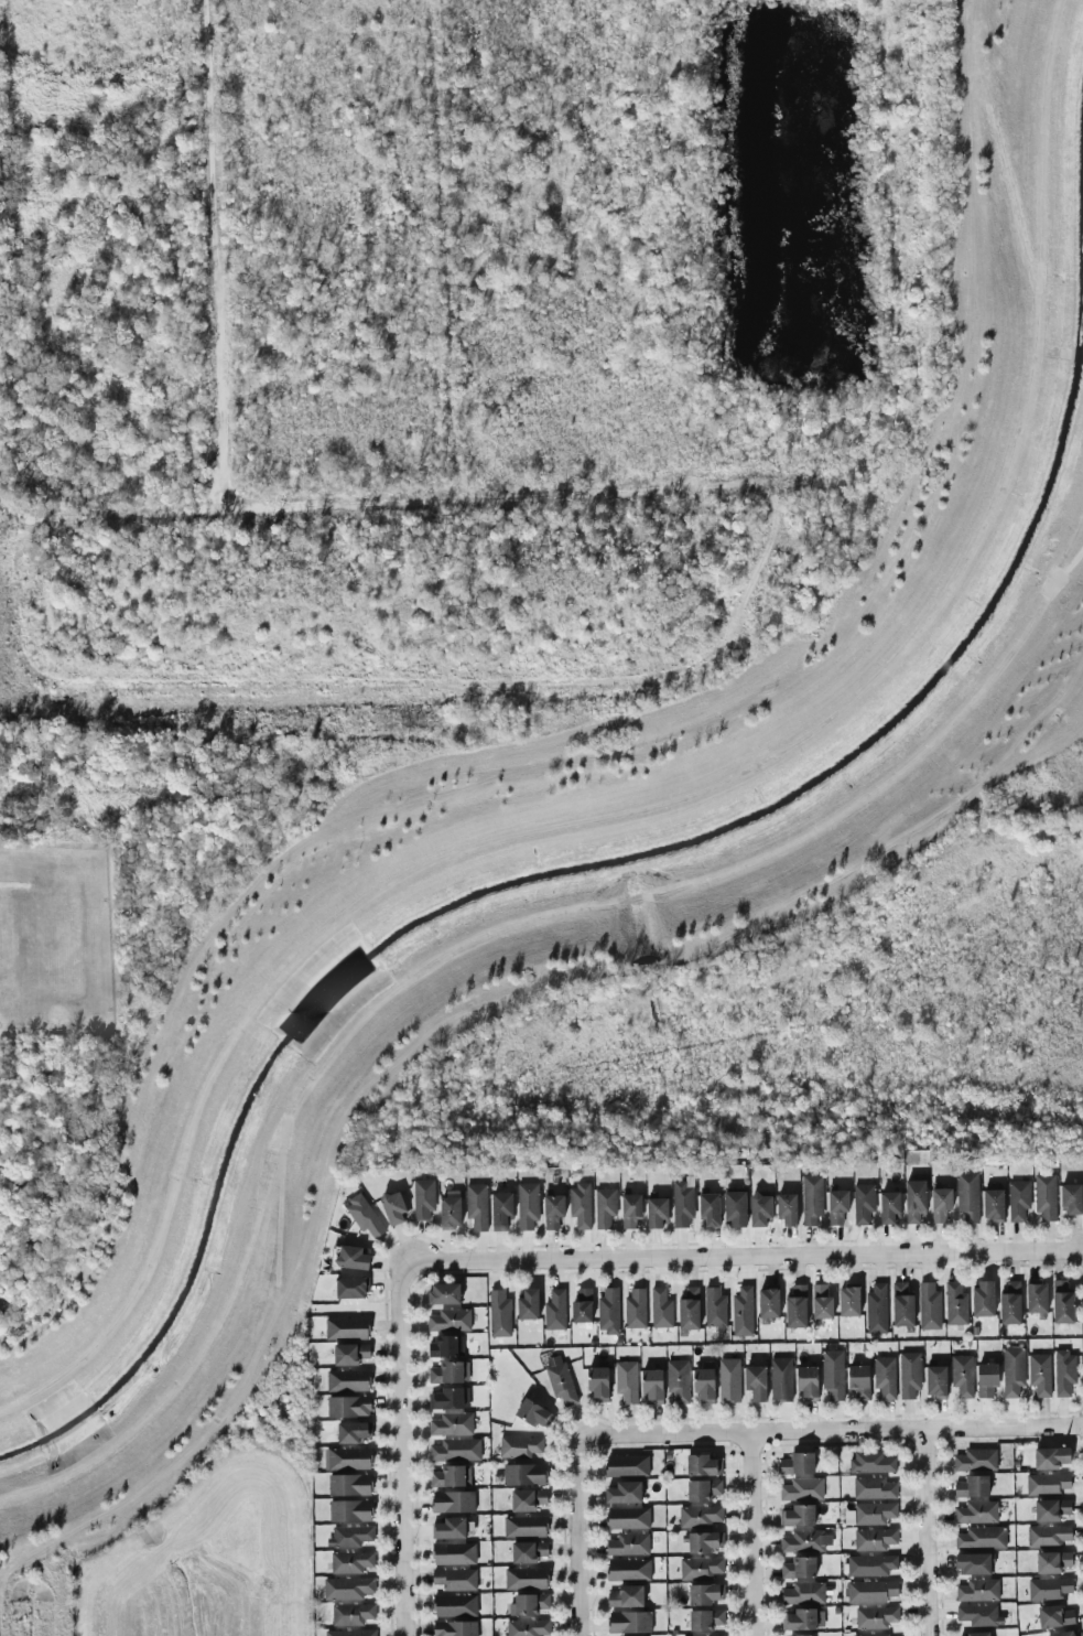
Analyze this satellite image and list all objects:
road: (447, 249)
road: (218, 256)
road: (690, 488)
road: (617, 756)
river: (599, 862)
building: (967, 1197)
building: (1046, 1197)
building: (423, 1198)
building: (812, 1199)
building: (1072, 1199)
building: (914, 1201)
building: (1018, 1201)
building: (683, 1202)
building: (864, 1203)
building: (528, 1205)
building: (581, 1205)
building: (941, 1205)
building: (994, 1205)
building: (393, 1206)
building: (477, 1206)
building: (837, 1206)
building: (605, 1207)
building: (889, 1207)
building: (787, 1208)
building: (553, 1209)
building: (735, 1209)
building: (501, 1210)
building: (630, 1210)
building: (710, 1210)
building: (760, 1210)
building: (451, 1212)
building: (657, 1212)
building: (364, 1215)
road: (741, 1257)
building: (351, 1258)
building: (351, 1288)
building: (444, 1293)
building: (1037, 1298)
building: (983, 1299)
building: (821, 1302)
building: (849, 1302)
building: (1010, 1302)
building: (769, 1303)
building: (1062, 1303)
building: (528, 1304)
building: (955, 1304)
building: (797, 1305)
building: (902, 1305)
building: (583, 1306)
building: (929, 1306)
building: (714, 1307)
building: (636, 1309)
building: (661, 1309)
building: (690, 1309)
building: (876, 1309)
building: (555, 1310)
building: (608, 1312)
building: (743, 1312)
building: (499, 1314)
building: (450, 1321)
building: (347, 1328)
building: (443, 1346)
building: (350, 1354)
building: (1012, 1371)
building: (446, 1373)
building: (1064, 1373)
building: (833, 1374)
building: (909, 1375)
building: (1040, 1375)
building: (962, 1376)
building: (885, 1377)
building: (781, 1379)
building: (987, 1379)
building: (348, 1380)
building: (560, 1380)
building: (678, 1380)
building: (729, 1380)
building: (626, 1381)
building: (859, 1381)
building: (935, 1381)
building: (756, 1382)
building: (808, 1382)
building: (598, 1384)
building: (704, 1385)
building: (652, 1386)
building: (446, 1399)
building: (348, 1407)
building: (533, 1413)
building: (452, 1424)
building: (354, 1432)
road: (832, 1435)
building: (519, 1446)
road: (403, 1449)
building: (456, 1450)
building: (1051, 1457)
building: (349, 1459)
building: (976, 1461)
building: (871, 1463)
building: (798, 1464)
building: (627, 1465)
building: (703, 1465)
building: (523, 1475)
building: (448, 1476)
building: (1047, 1484)
building: (349, 1485)
building: (973, 1487)
building: (874, 1488)
building: (802, 1489)
building: (703, 1490)
building: (624, 1493)
building: (528, 1499)
building: (453, 1502)
building: (350, 1510)
building: (1051, 1510)
building: (874, 1513)
building: (976, 1513)
building: (701, 1516)
building: (798, 1516)
building: (628, 1518)
building: (524, 1526)
building: (450, 1528)
road: (928, 1535)
road: (581, 1536)
building: (1049, 1536)
building: (349, 1537)
road: (756, 1537)
building: (982, 1538)
building: (875, 1539)
building: (805, 1541)
building: (704, 1542)
building: (628, 1544)
building: (528, 1552)
building: (454, 1553)
building: (351, 1562)
building: (1052, 1562)
building: (973, 1563)
building: (870, 1565)
building: (701, 1568)
building: (799, 1568)
building: (628, 1570)
building: (526, 1579)
building: (455, 1580)
building: (347, 1589)
building: (1049, 1589)
building: (978, 1590)
building: (871, 1592)
building: (804, 1593)
building: (705, 1594)
building: (626, 1596)
building: (529, 1604)
building: (455, 1605)
building: (353, 1614)
building: (978, 1615)
building: (1054, 1616)
building: (876, 1617)
building: (705, 1619)
building: (800, 1619)
building: (629, 1622)
building: (528, 1627)
building: (455, 1628)
building: (350, 1633)
building: (978, 1634)
building: (1063, 1634)
building: (801, 1635)
building: (875, 1635)

